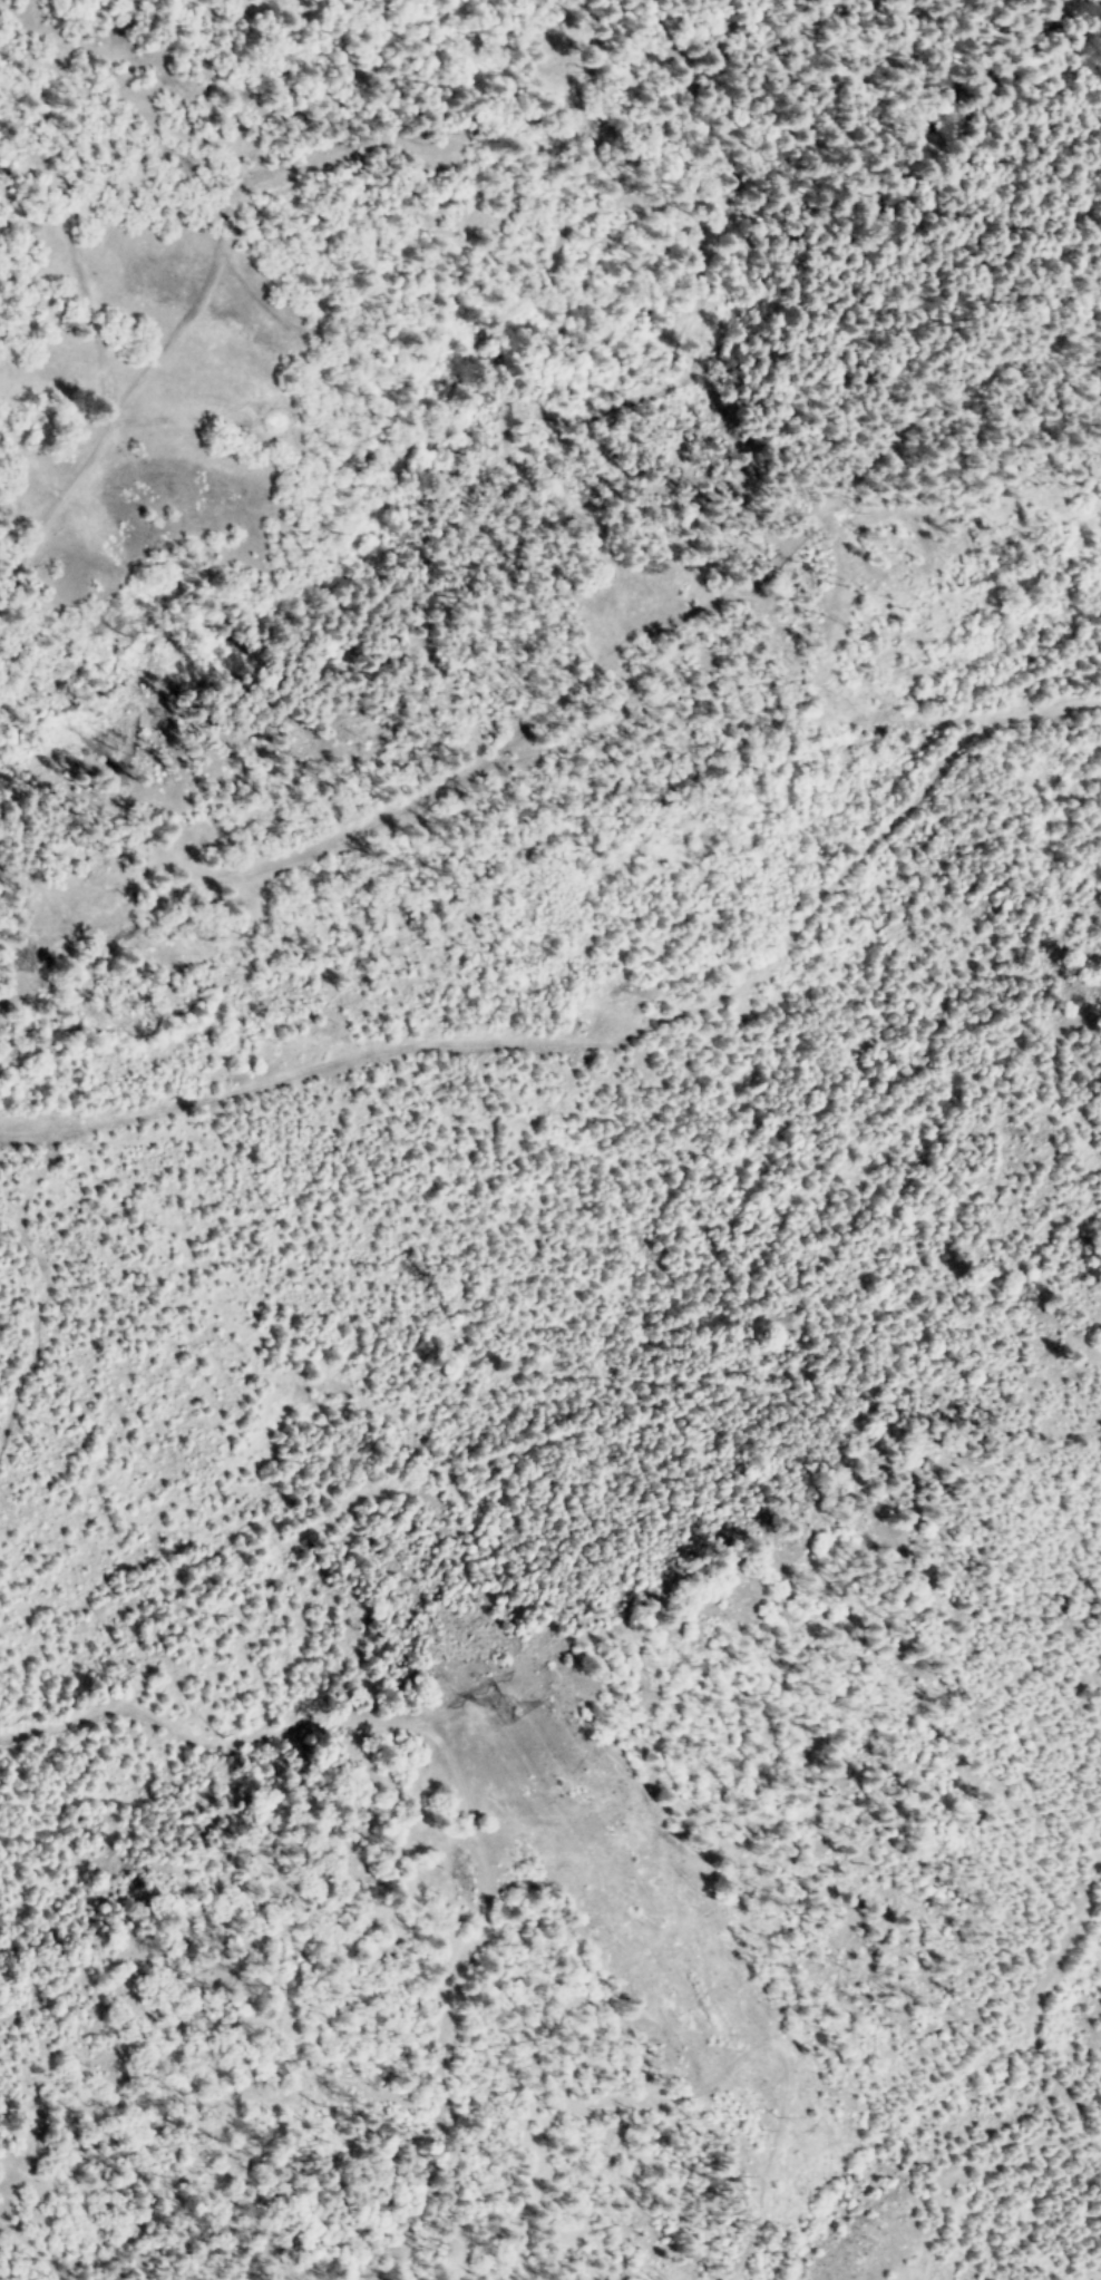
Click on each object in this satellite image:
road: (514, 418)
power tower: (505, 1708)

